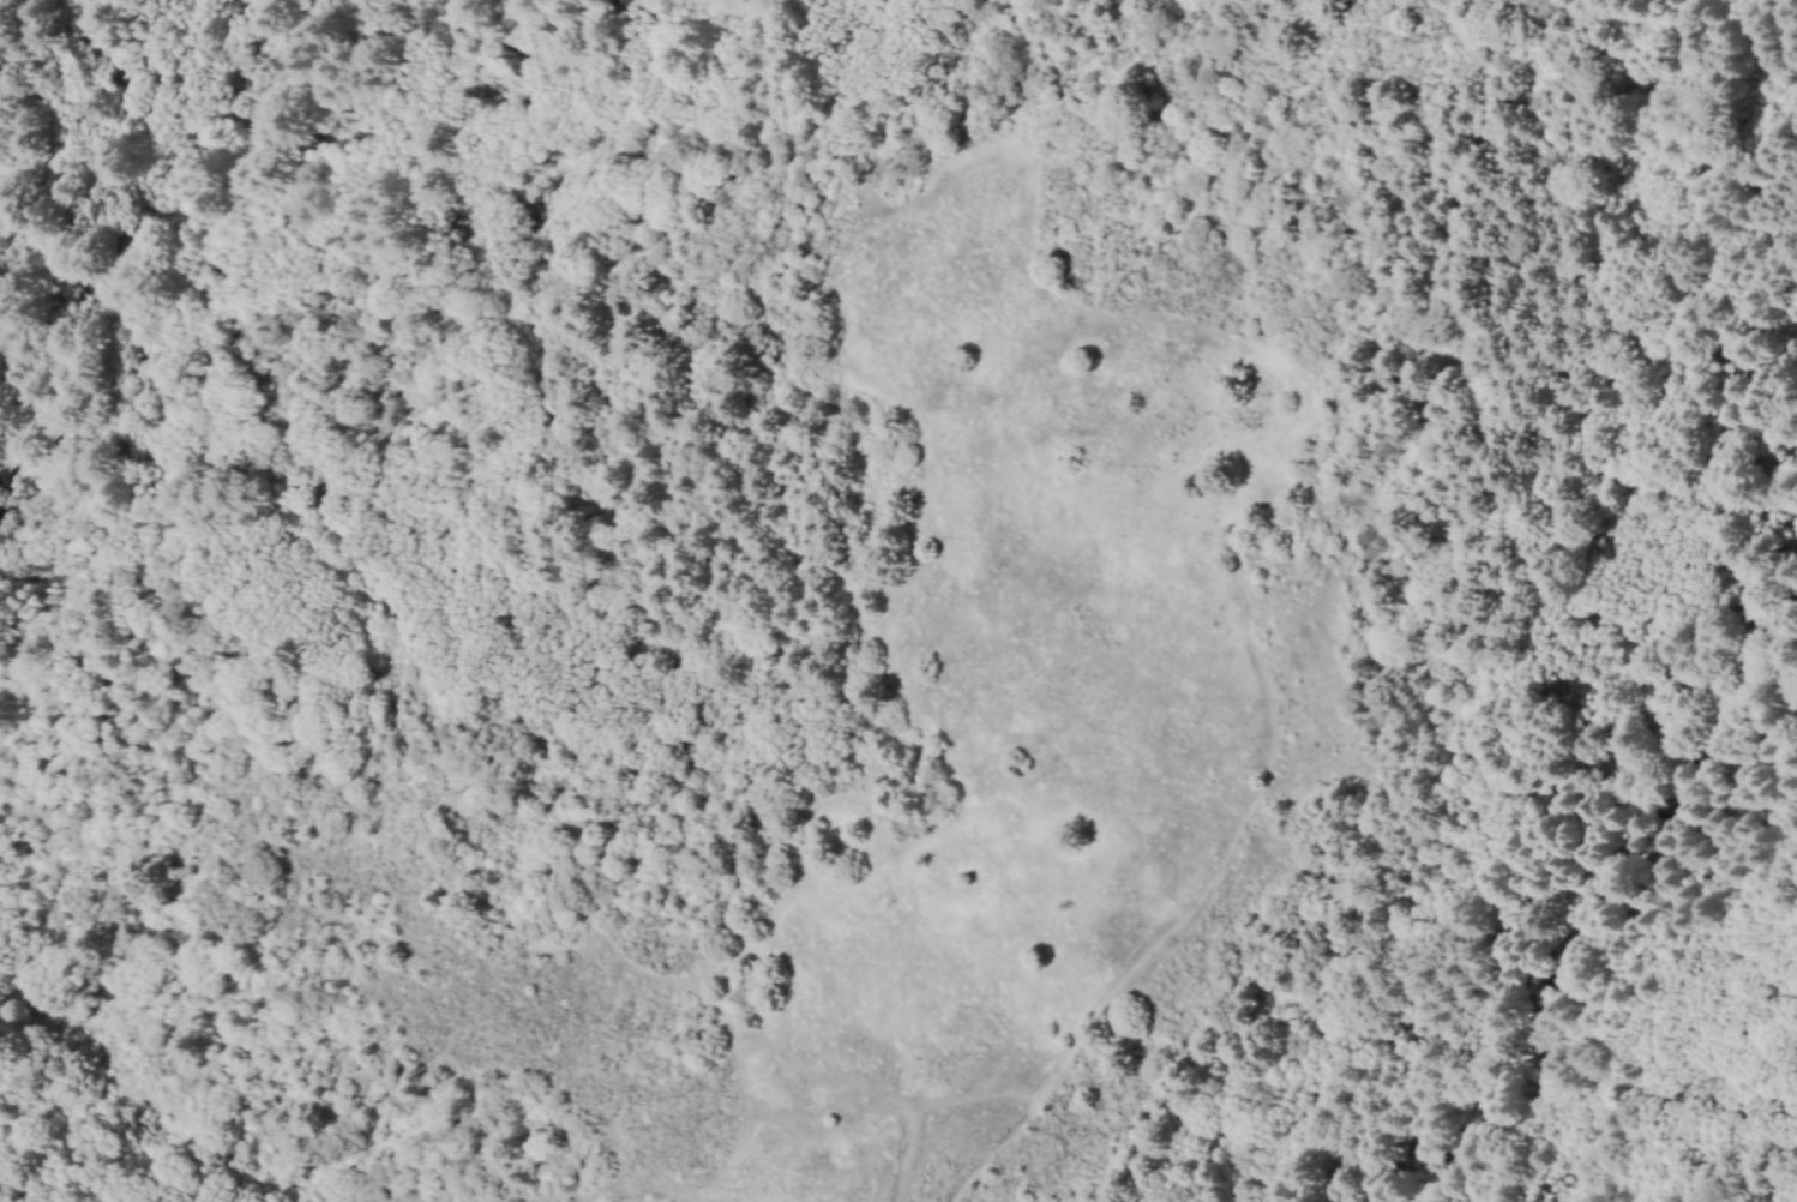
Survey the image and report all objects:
road: (1246, 607)

